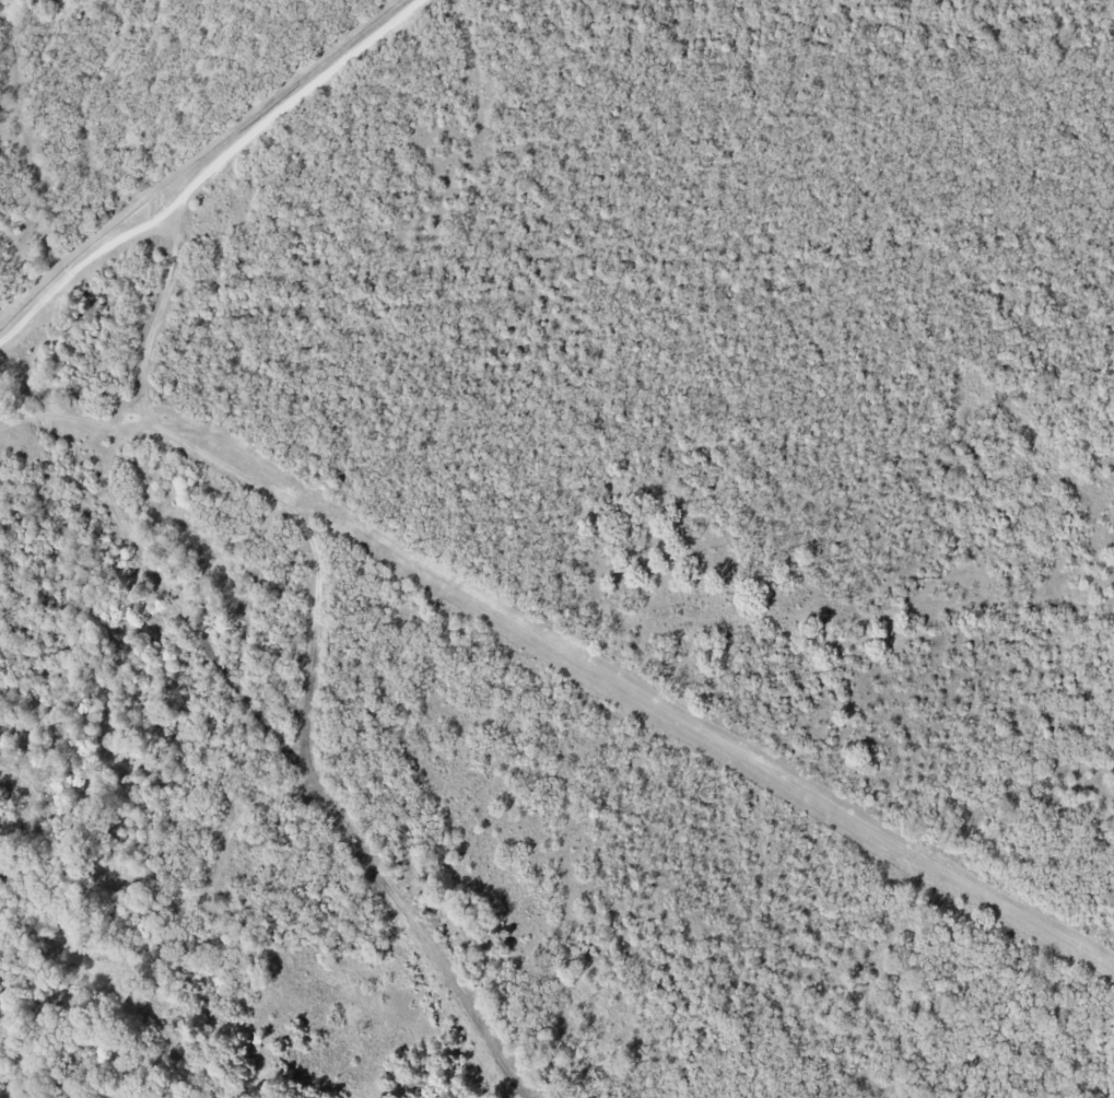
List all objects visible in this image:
road: (209, 172)
road: (313, 642)
road: (568, 649)

